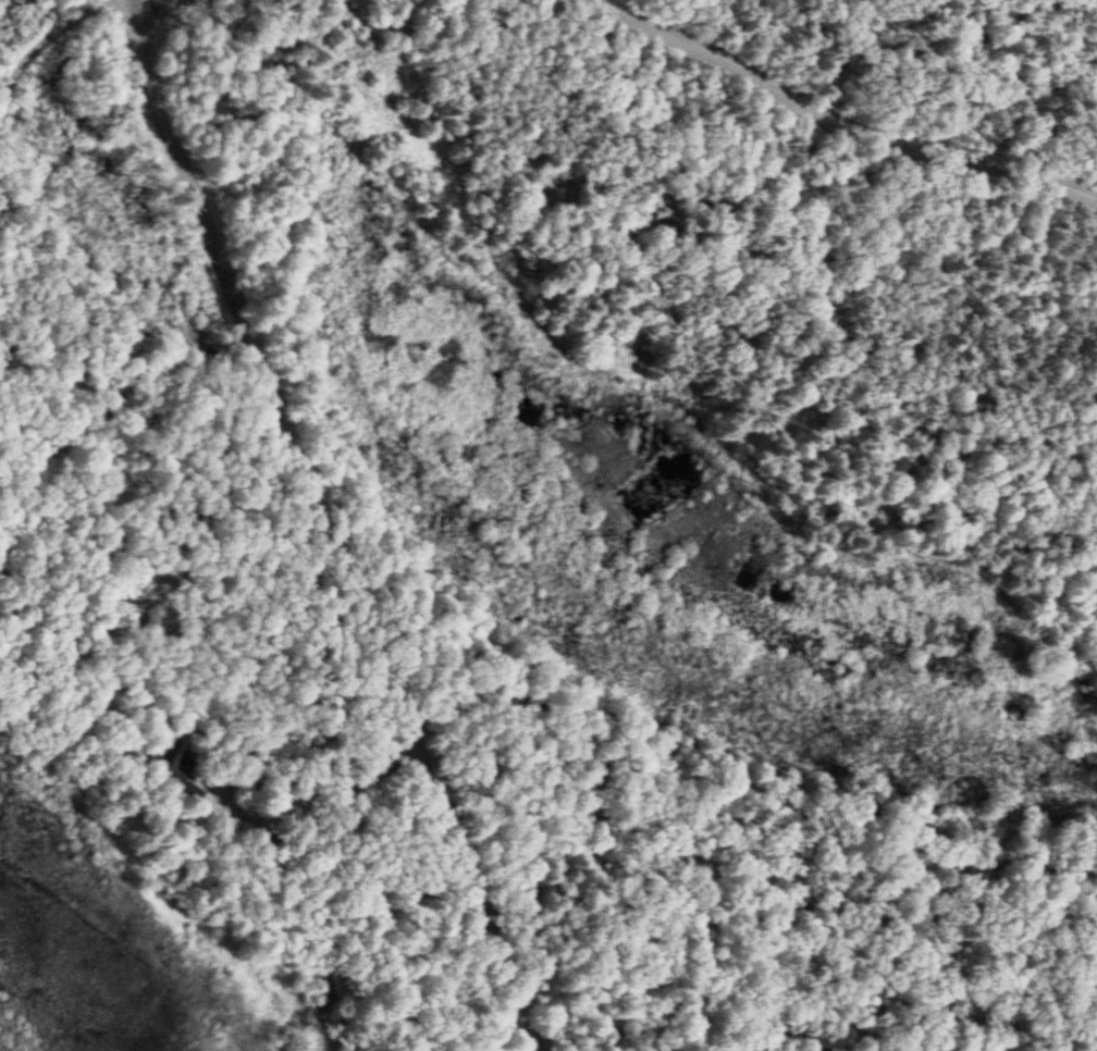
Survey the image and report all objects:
road: (46, 41)
road: (825, 124)
road: (323, 524)
building: (173, 765)
road: (315, 789)

